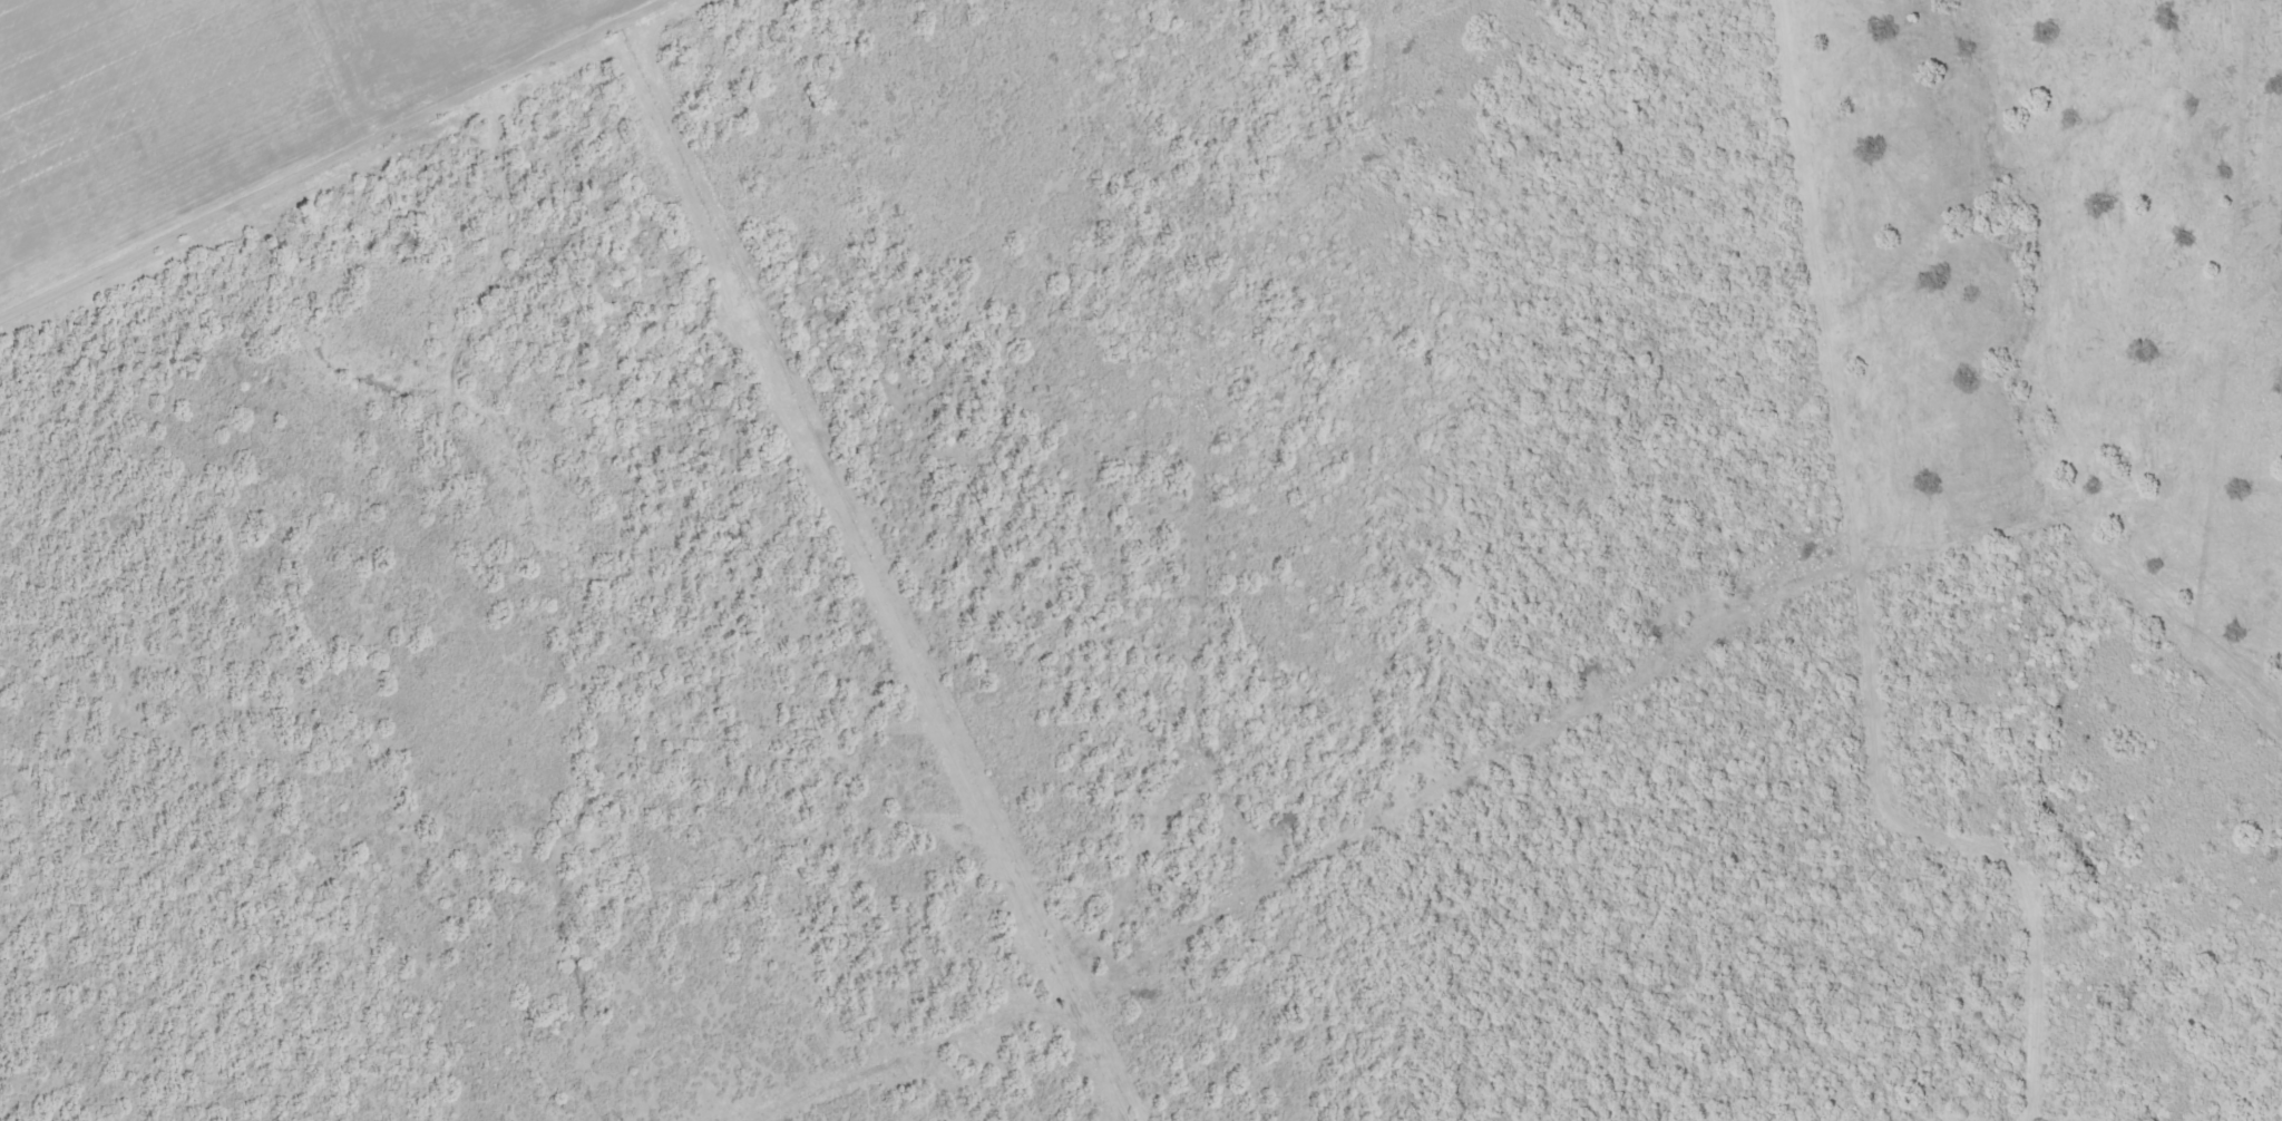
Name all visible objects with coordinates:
road: (1241, 680)

